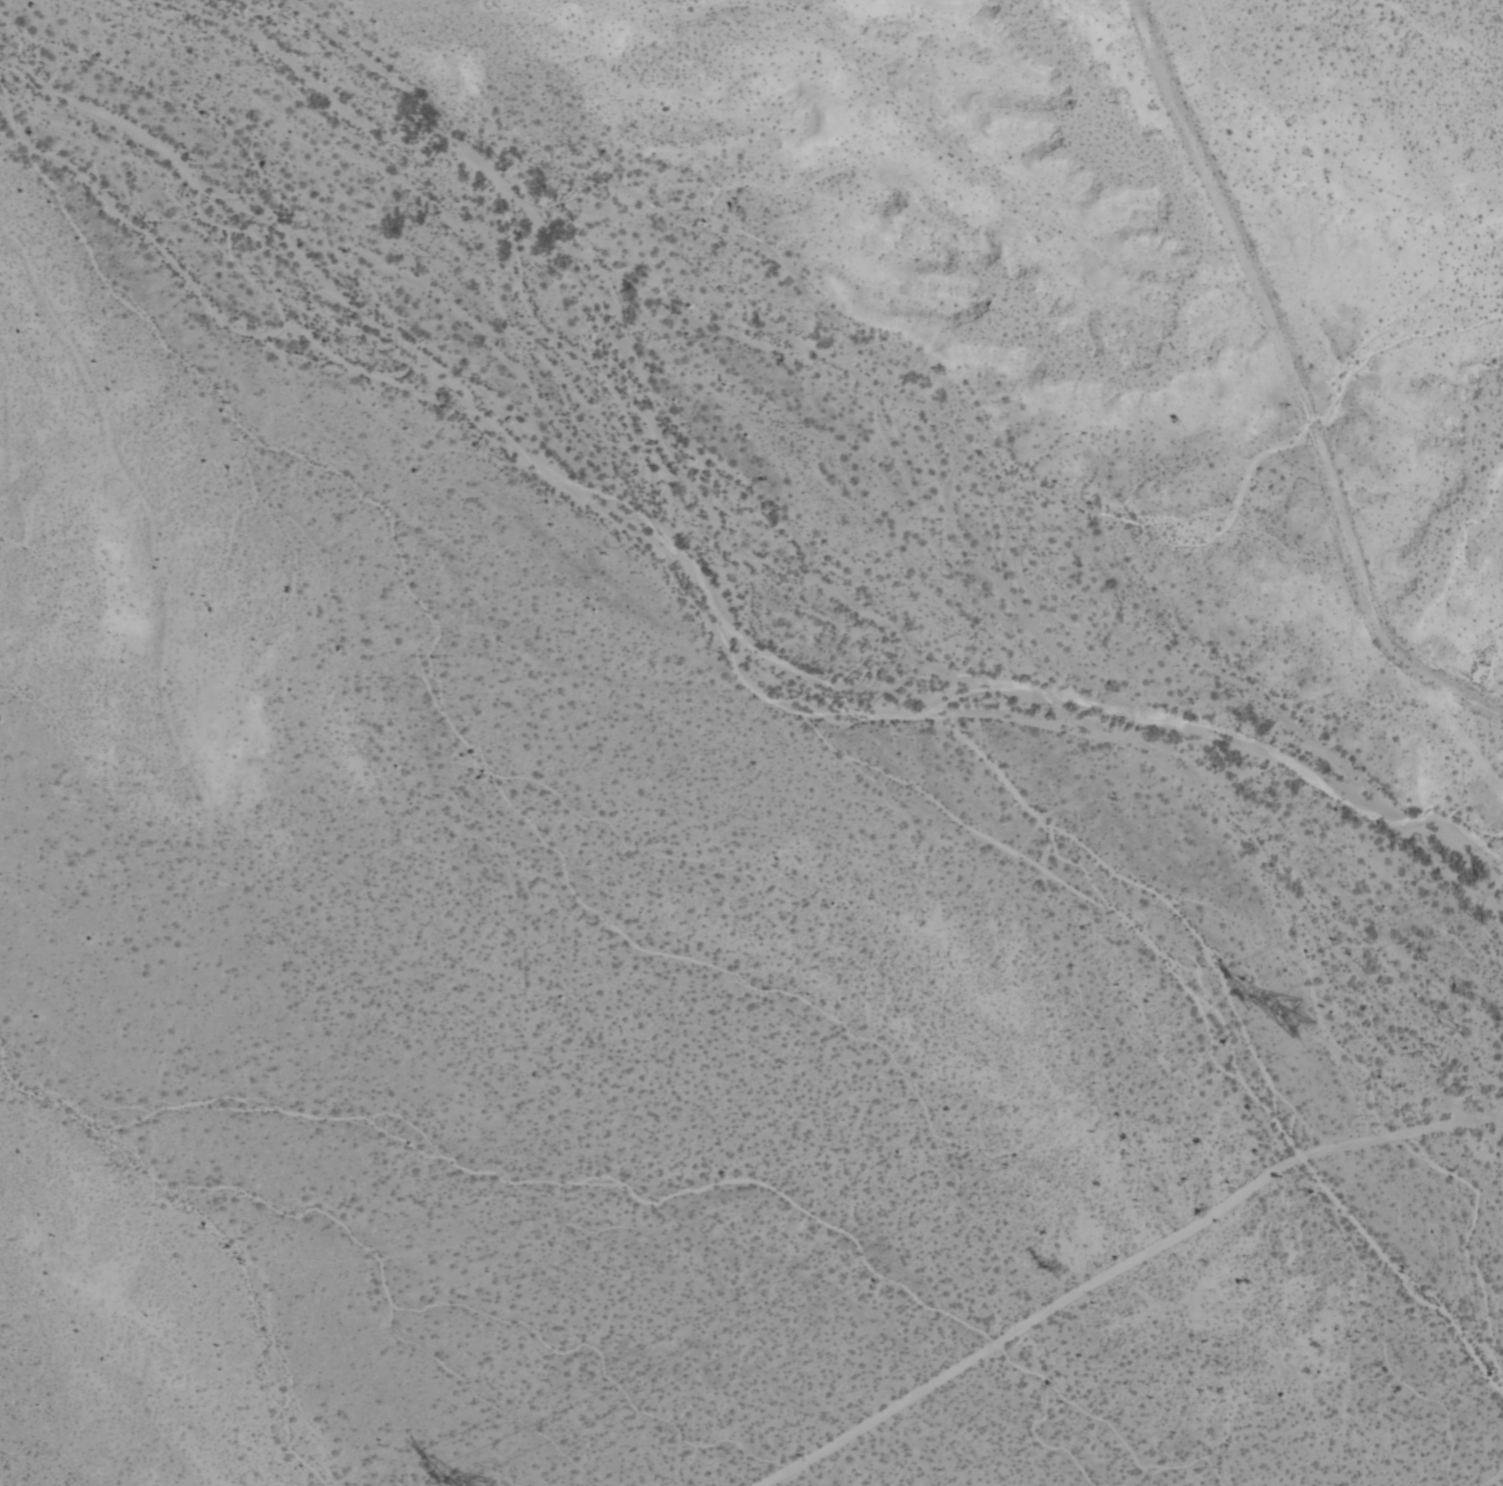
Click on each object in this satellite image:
power tower: (1489, 1010)
power tower: (1296, 1019)
power tower: (1060, 1266)

